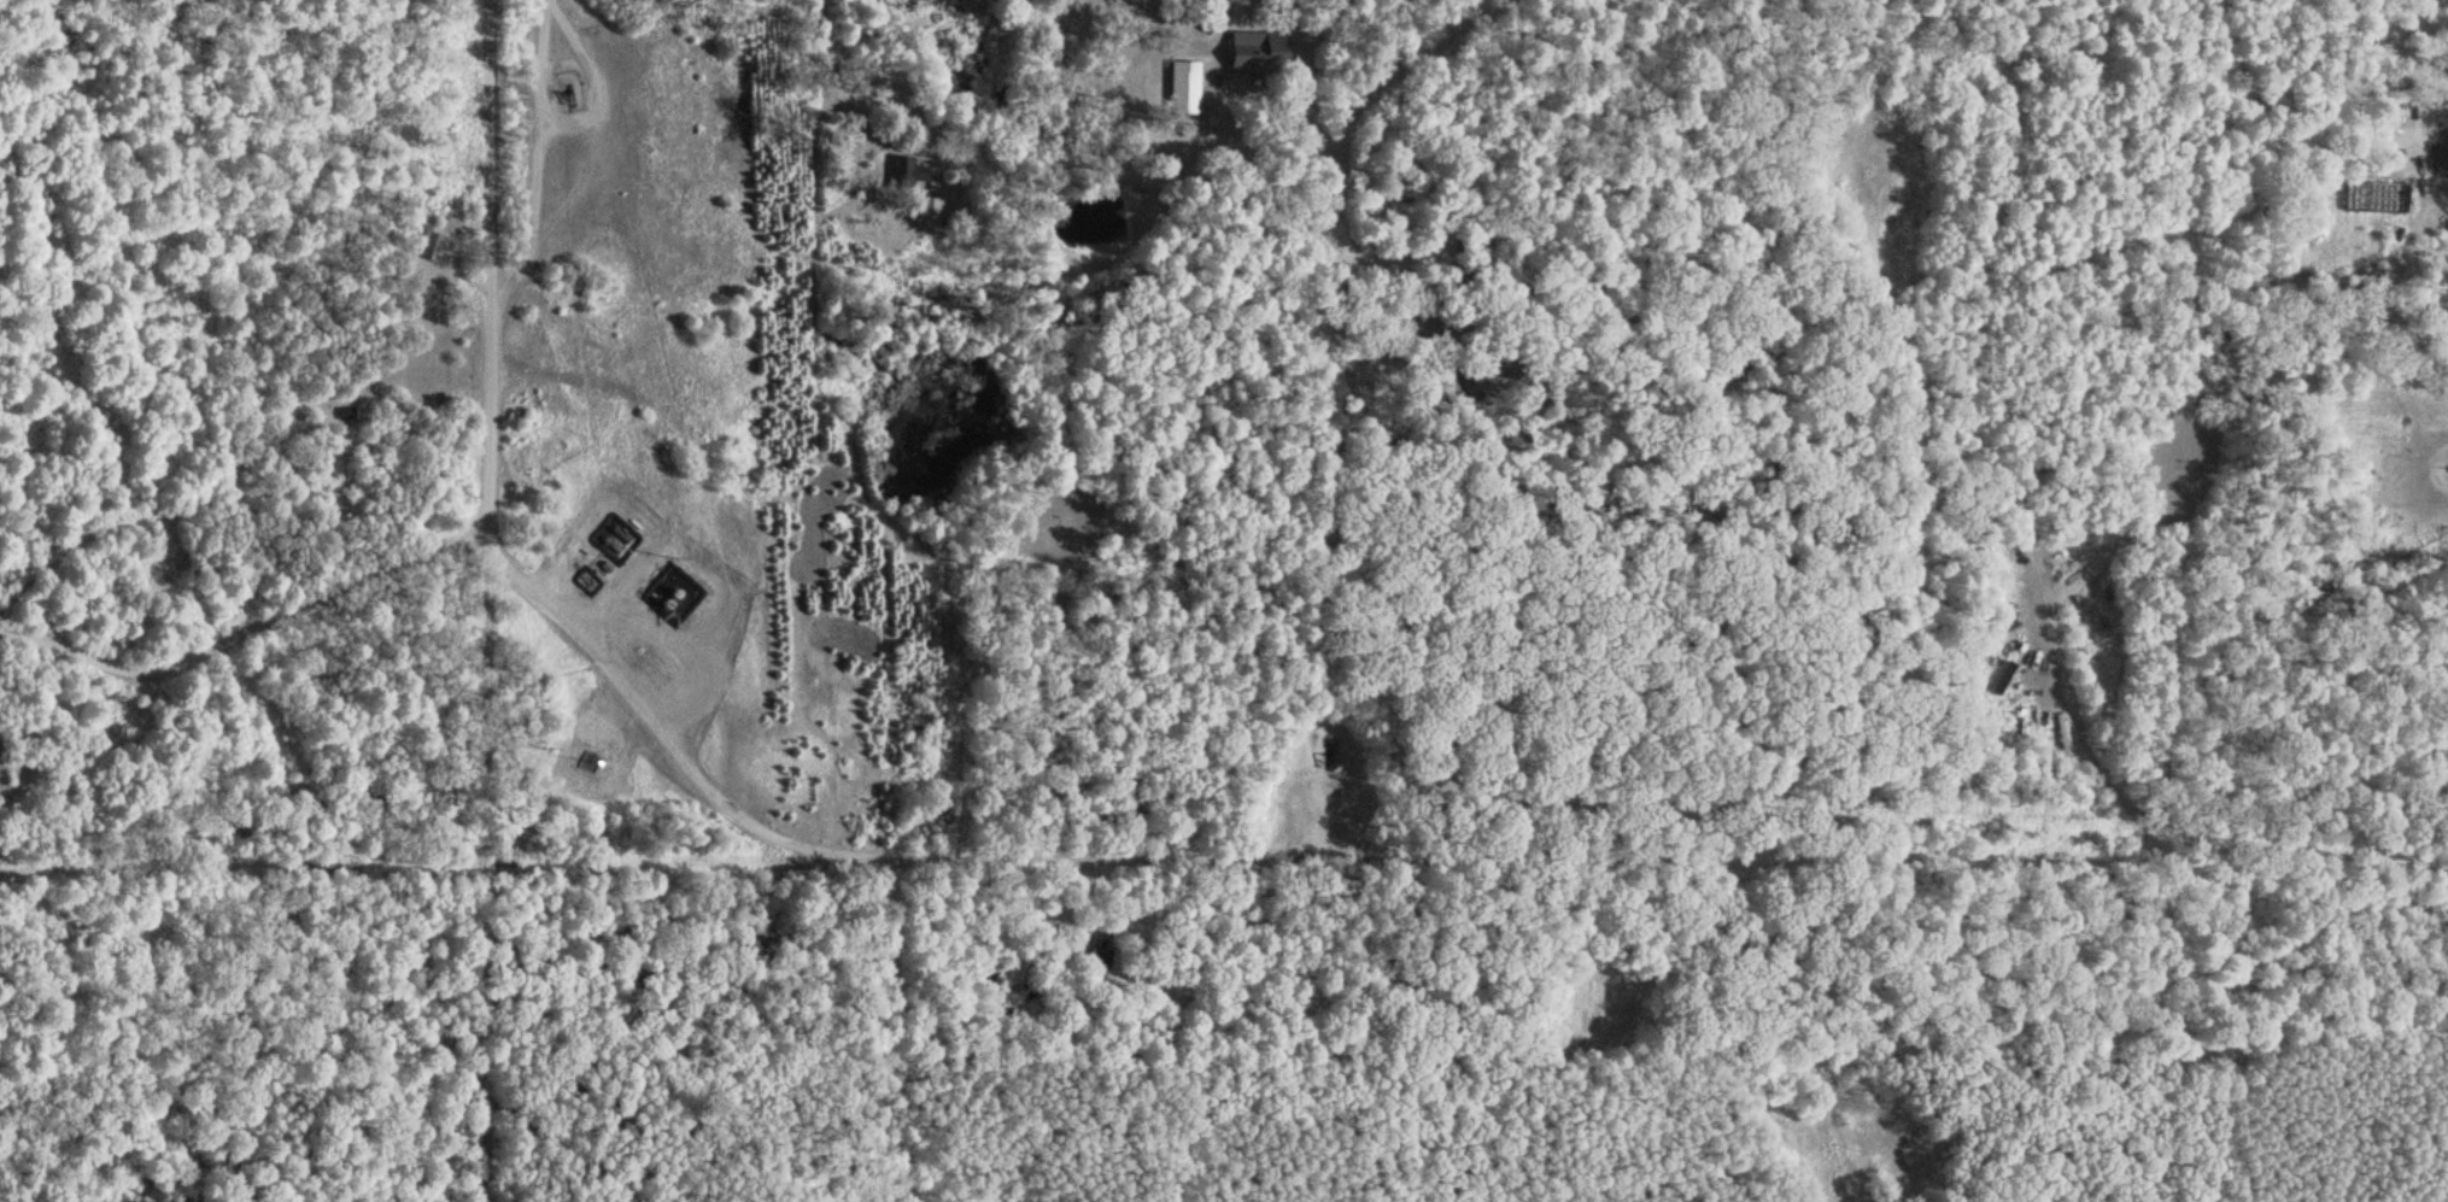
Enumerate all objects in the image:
building: (1255, 54)
petroleum well: (567, 96)
building: (2446, 154)
building: (901, 175)
building: (427, 245)
road: (1967, 439)
road: (490, 600)
road: (247, 627)
building: (2060, 735)
petroleum well: (1322, 752)
road: (1404, 857)
building: (1096, 954)
road: (1698, 1039)

